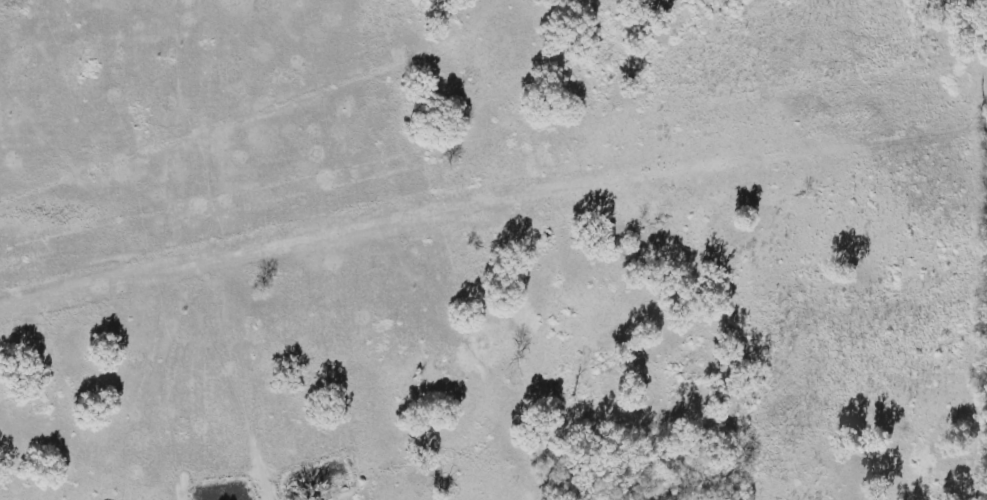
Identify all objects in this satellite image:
road: (33, 132)

